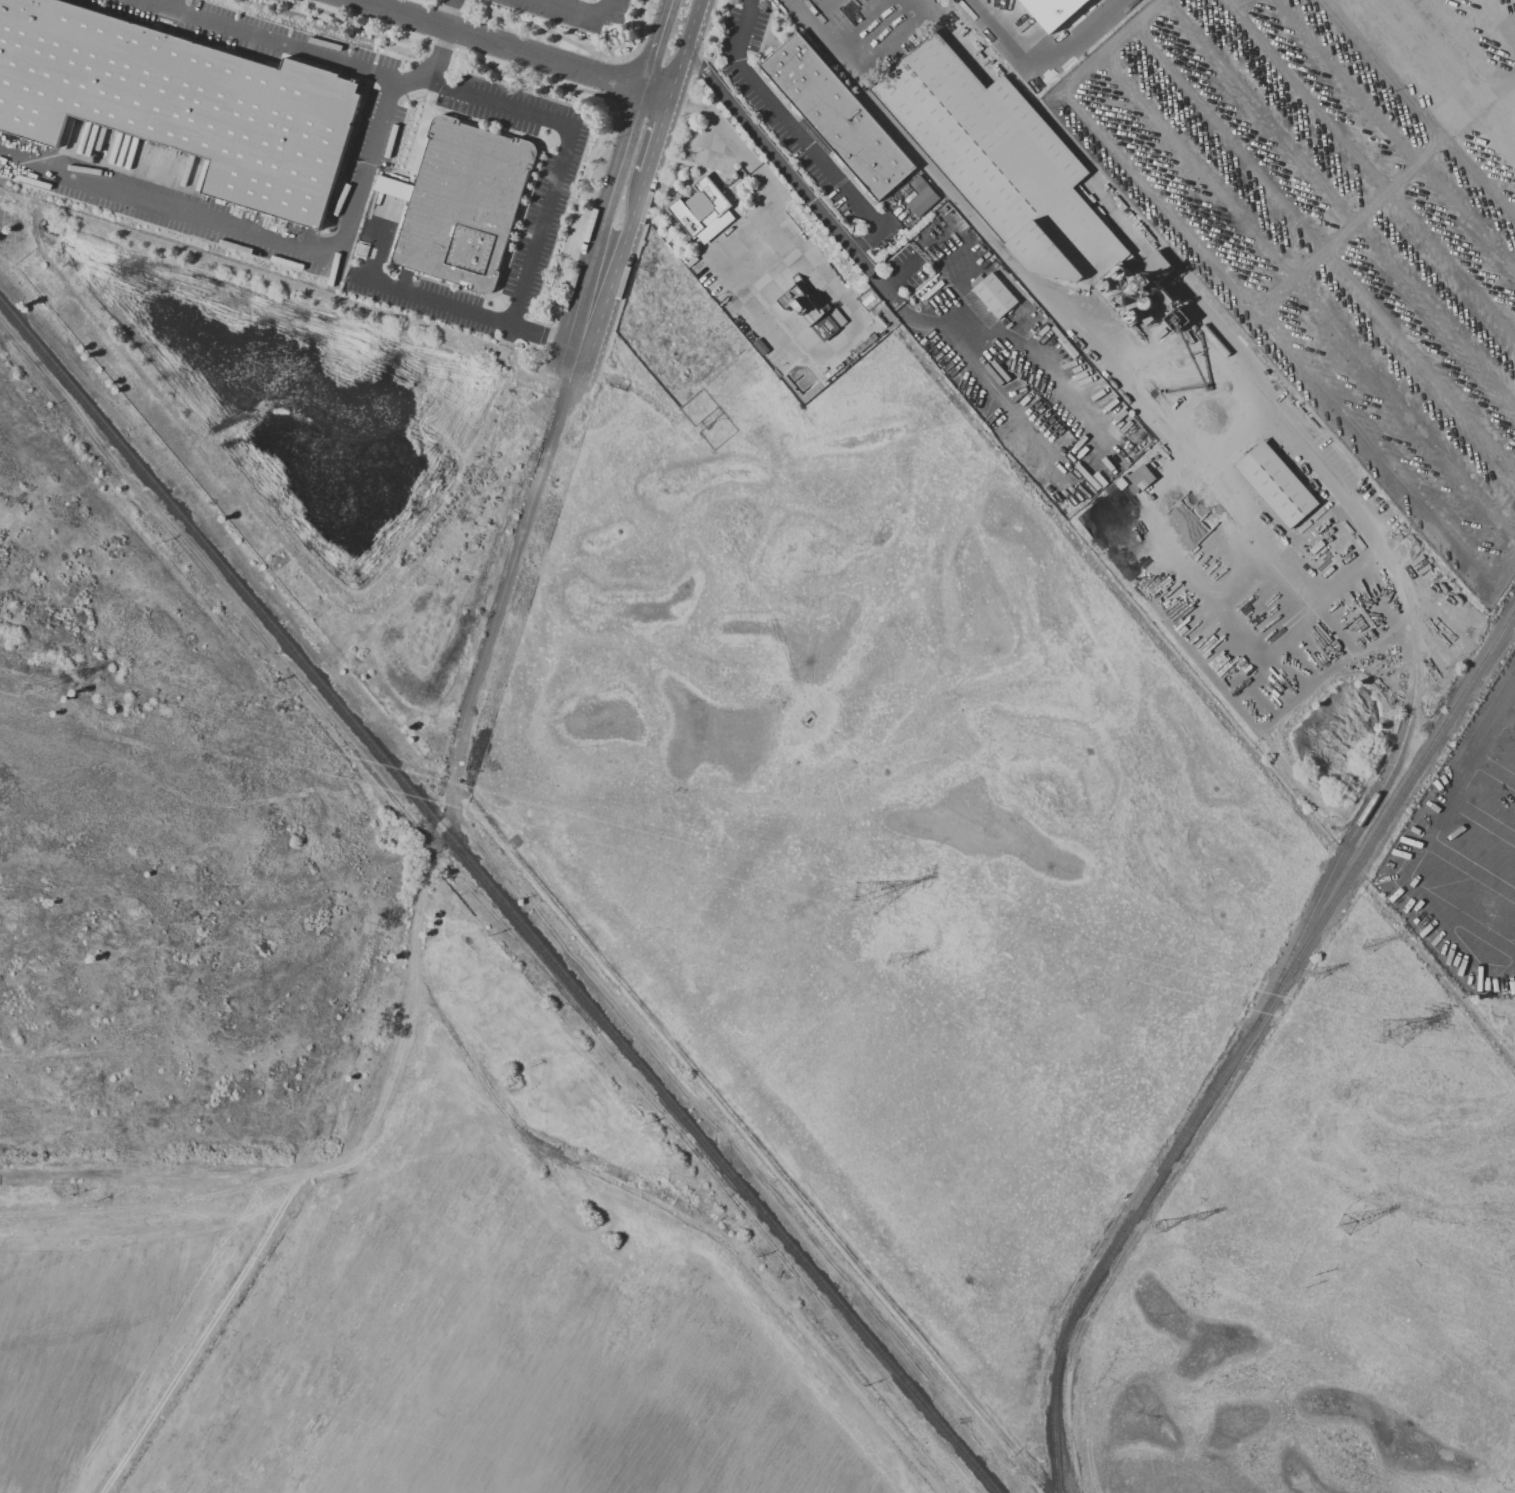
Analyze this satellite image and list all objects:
road: (172, 2)
road: (1237, 4)
road: (817, 10)
building: (1054, 11)
road: (583, 12)
road: (1500, 15)
road: (874, 30)
road: (293, 41)
road: (1456, 42)
road: (504, 45)
road: (658, 45)
road: (685, 49)
road: (1044, 72)
road: (1442, 85)
road: (656, 94)
building: (180, 103)
road: (696, 105)
road: (1417, 109)
building: (838, 117)
road: (787, 121)
road: (571, 128)
road: (1395, 133)
road: (714, 135)
road: (652, 138)
road: (1369, 167)
building: (1016, 175)
building: (917, 183)
road: (1389, 187)
building: (922, 200)
road: (613, 203)
building: (463, 205)
road: (1338, 205)
building: (702, 209)
road: (254, 233)
road: (994, 238)
road: (618, 249)
road: (1324, 251)
road: (857, 259)
road: (914, 259)
building: (995, 294)
road: (1249, 296)
road: (1307, 299)
road: (775, 305)
building: (809, 310)
road: (464, 311)
building: (838, 317)
building: (1056, 331)
road: (1012, 342)
building: (865, 343)
building: (1050, 351)
building: (1140, 477)
building: (1098, 479)
building: (1277, 483)
road: (1370, 539)
road: (518, 551)
railway: (1414, 638)
power tower: (50, 696)
power tower: (391, 832)
road: (1422, 846)
railway: (499, 897)
power tower: (865, 898)
power tower: (1366, 947)
power tower: (892, 962)
power tower: (1315, 974)
road: (1462, 1004)
power tower: (1391, 1033)
railway: (1244, 1039)
road: (381, 1097)
power tower: (1197, 1217)
power tower: (1344, 1224)
power tower: (1157, 1227)

